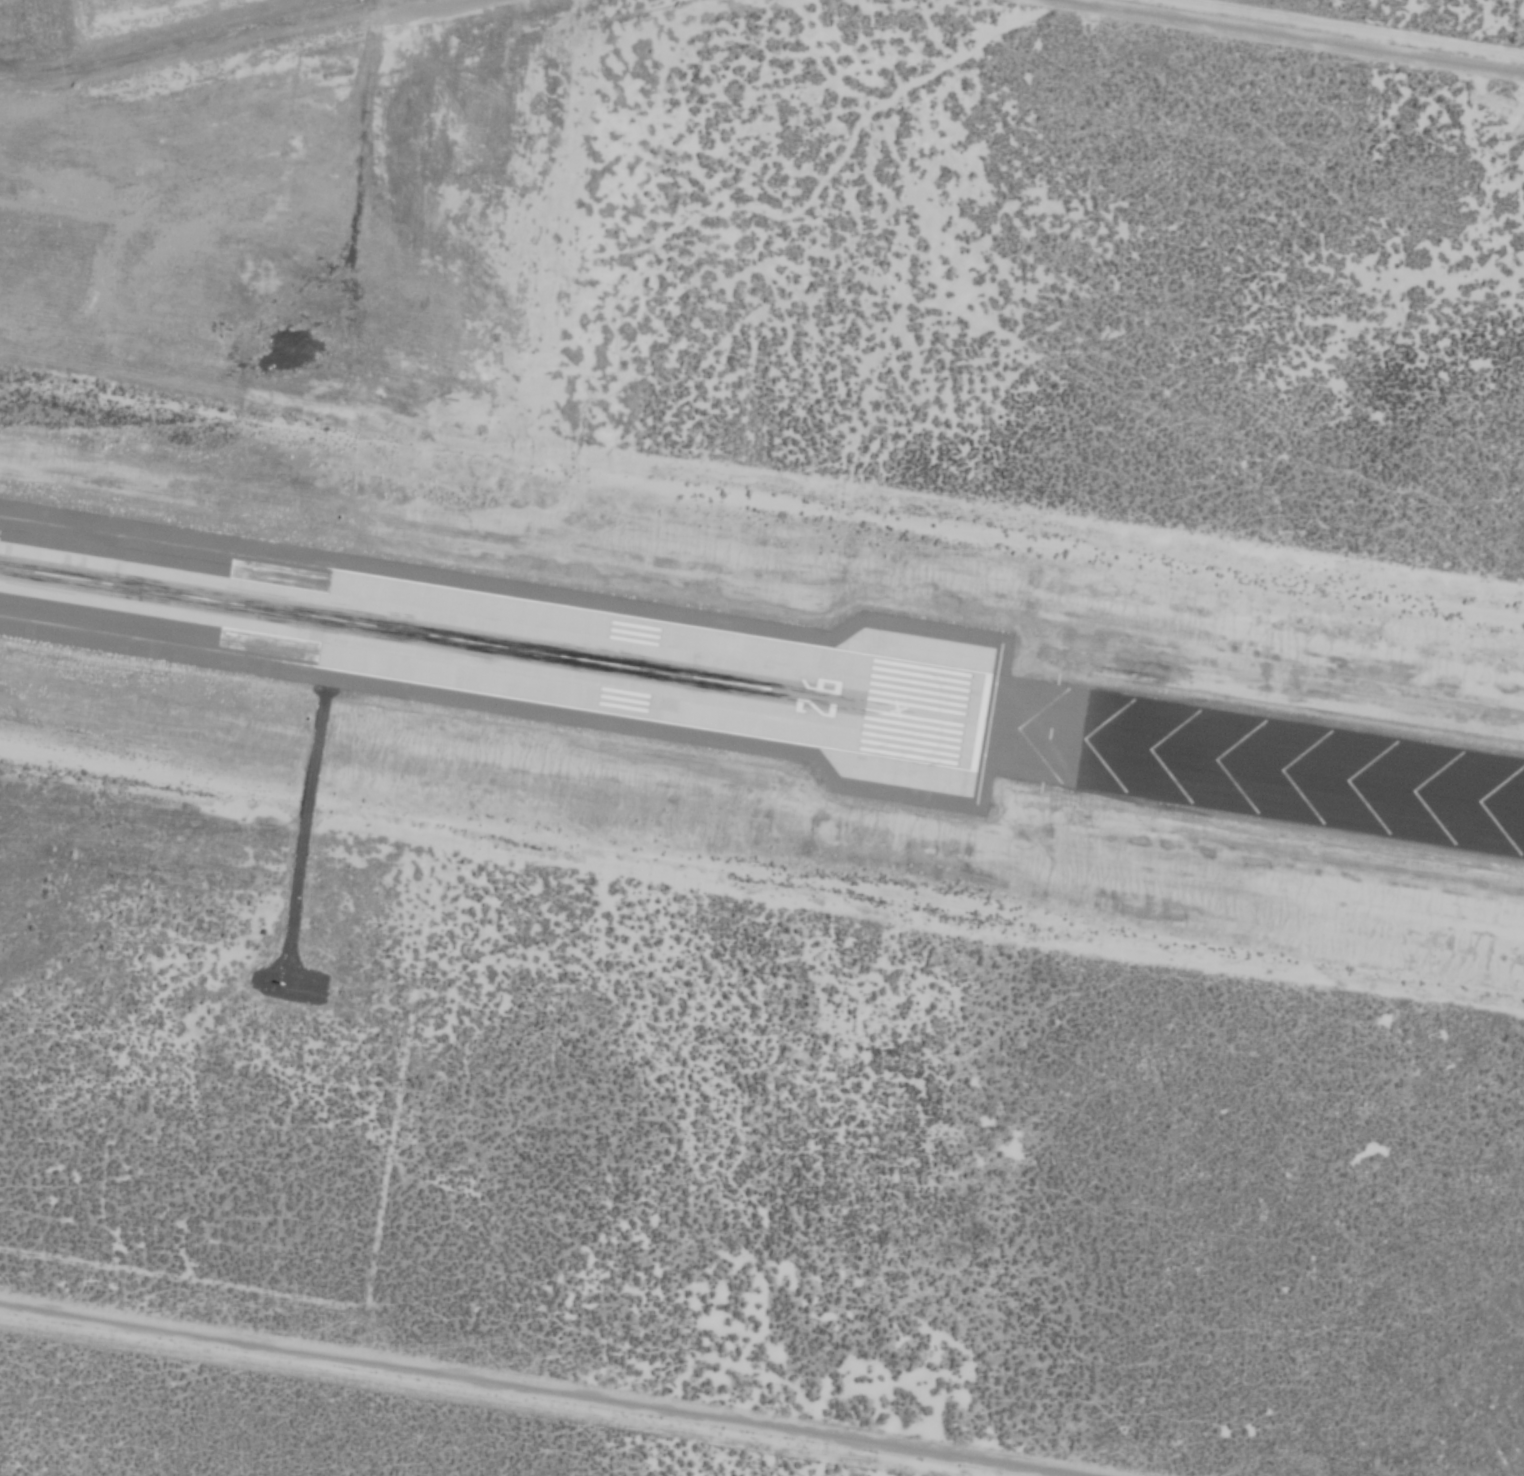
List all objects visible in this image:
airport runway: (762, 691)
airport: (762, 738)

